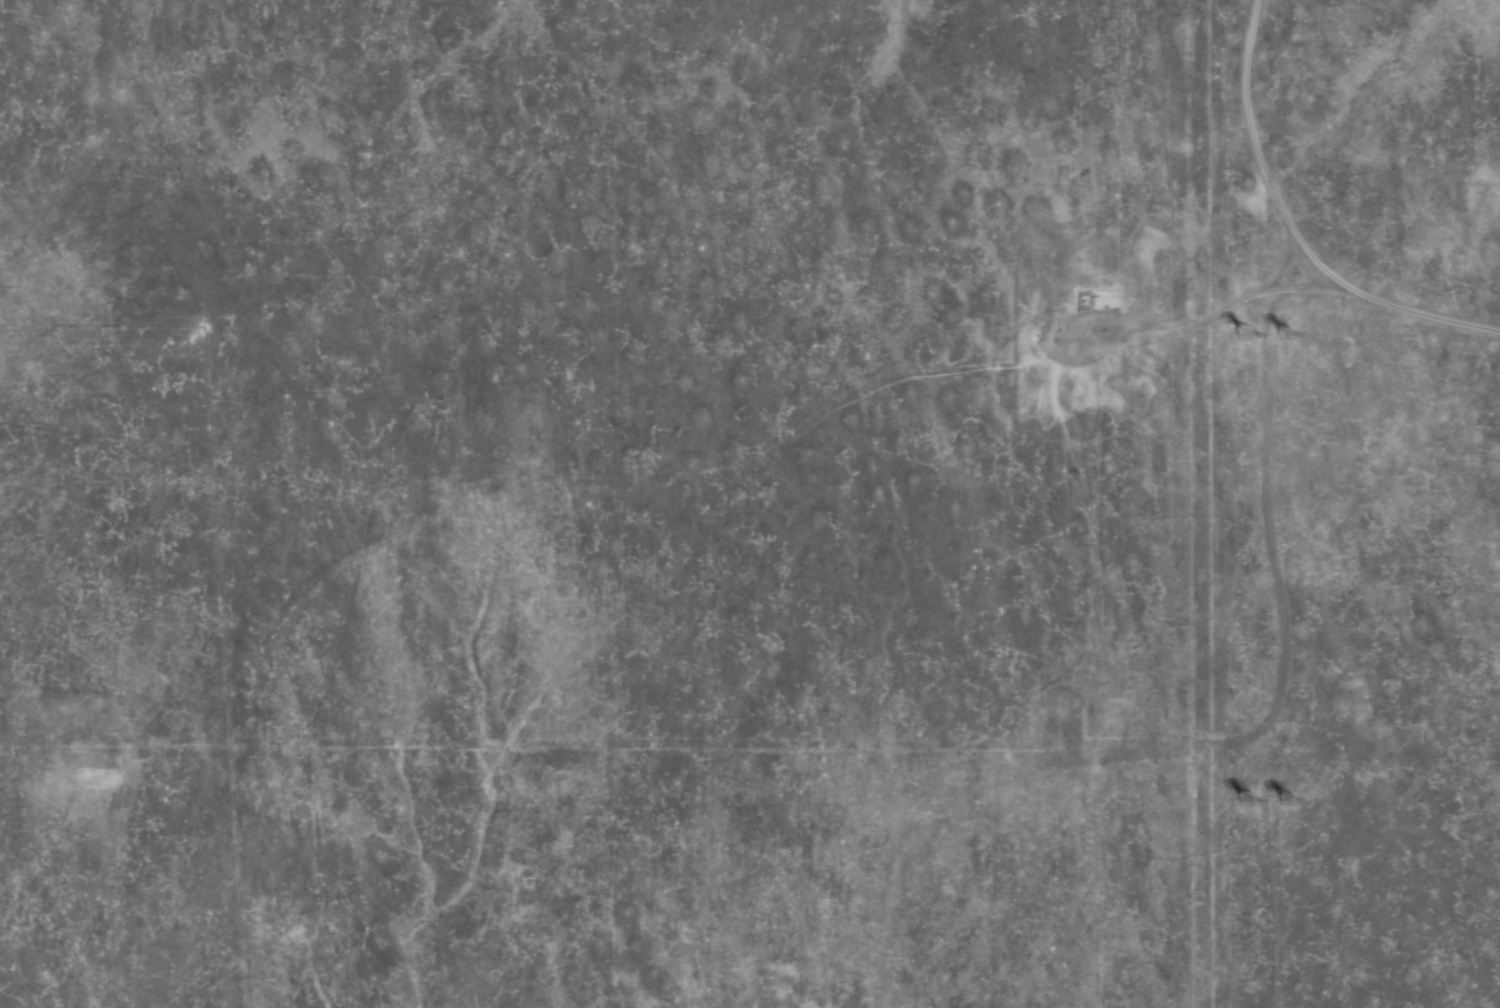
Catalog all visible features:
power tower: (1242, 334)
power tower: (1281, 336)
power tower: (1244, 801)
power tower: (1283, 802)

